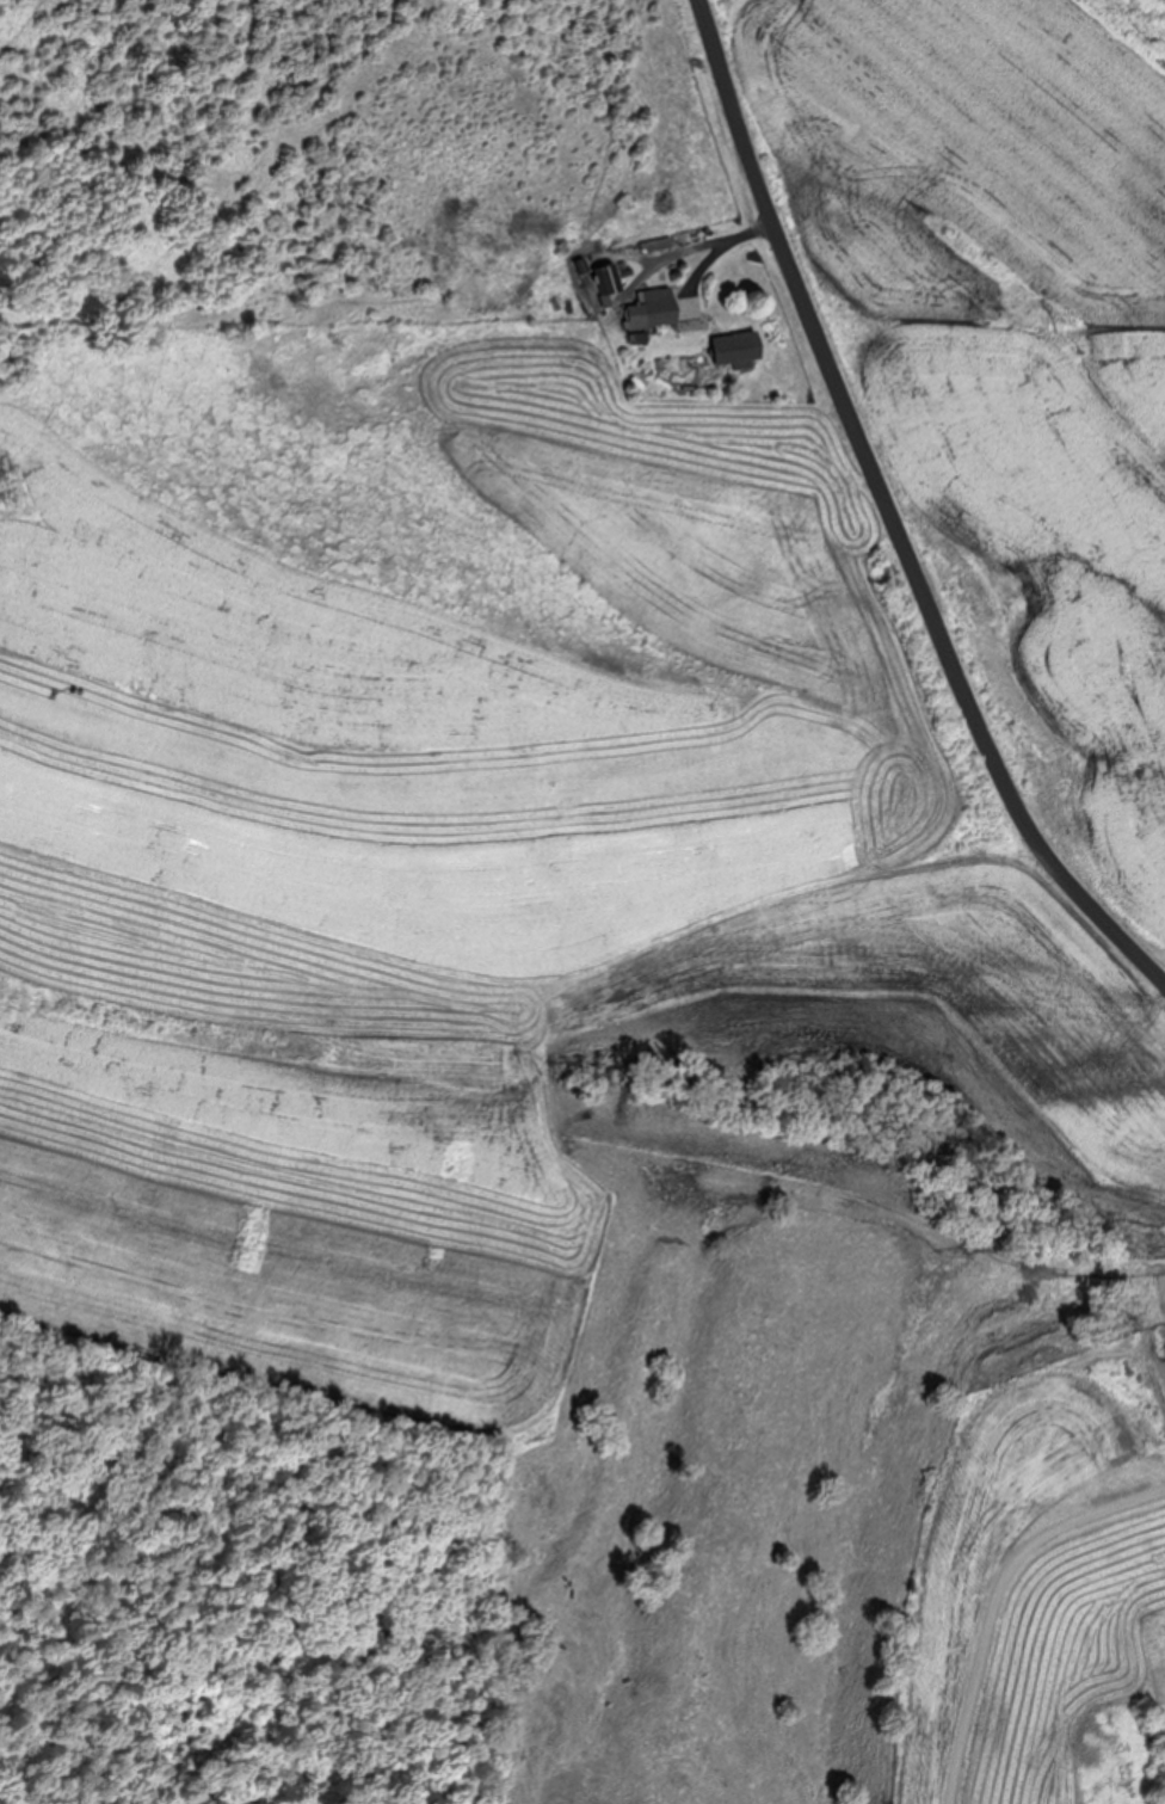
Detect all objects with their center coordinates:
building: (606, 278)
building: (652, 308)
building: (733, 347)
road: (889, 517)
building: (1160, 1305)
road: (993, 1597)

